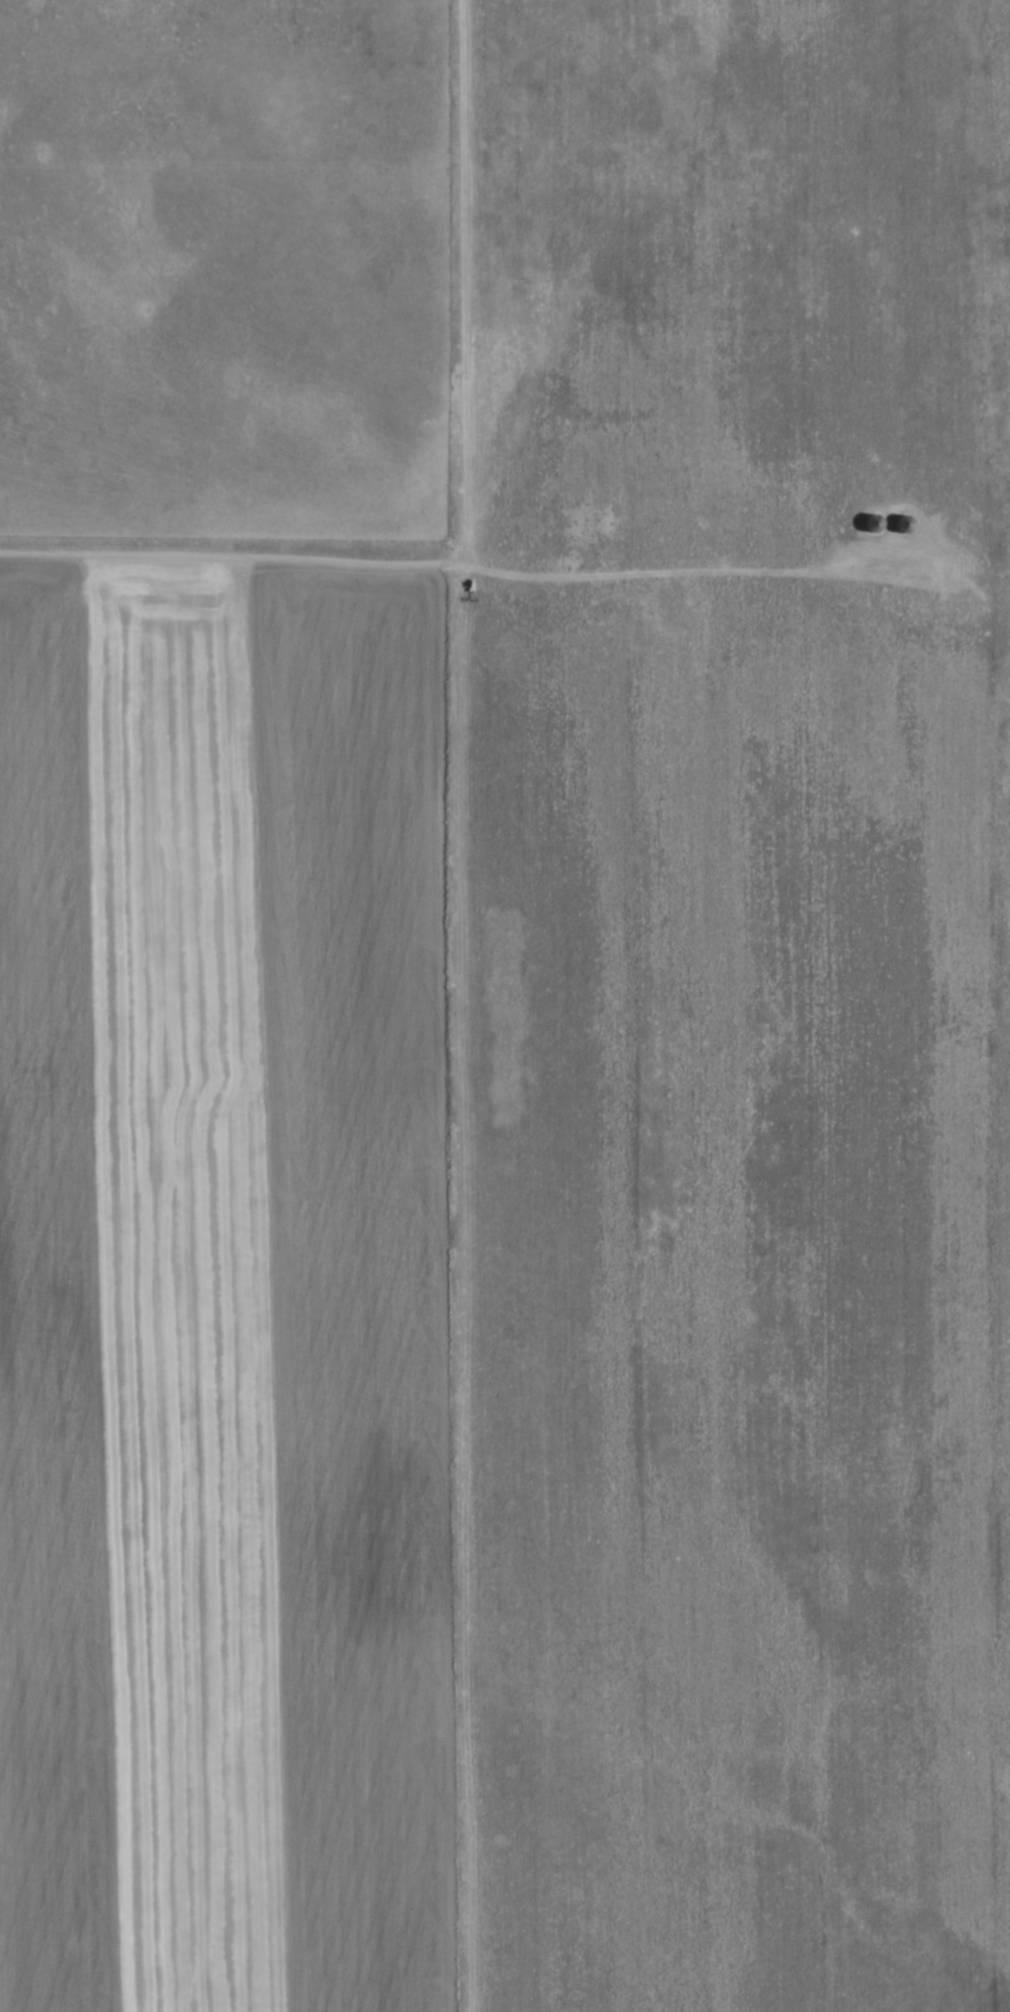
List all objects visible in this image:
building: (874, 523)
building: (904, 523)

